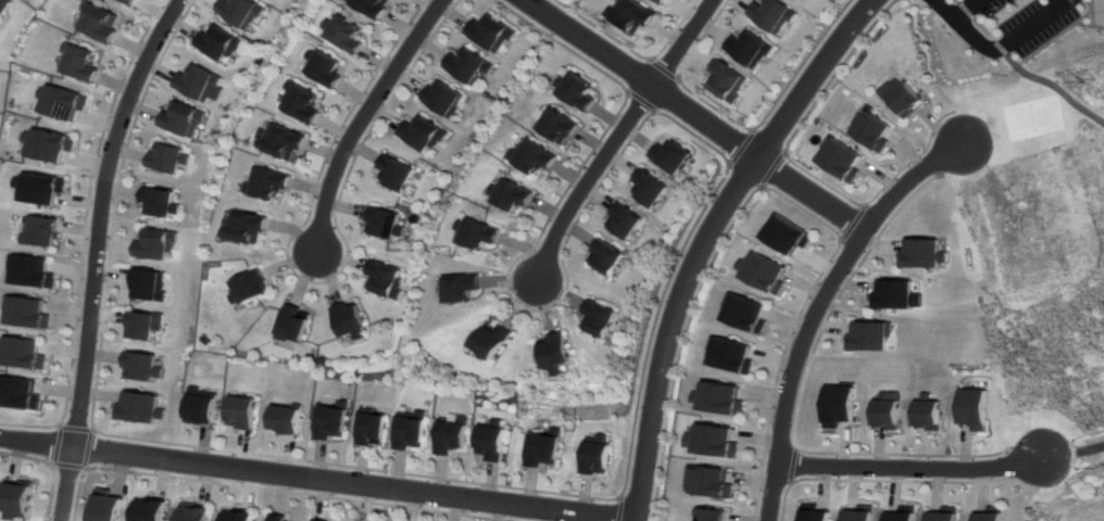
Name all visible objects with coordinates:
building: (127, 2)
building: (657, 2)
building: (3, 7)
building: (380, 8)
road: (965, 8)
road: (945, 9)
building: (244, 12)
building: (770, 15)
building: (630, 16)
building: (98, 22)
building: (493, 35)
building: (353, 36)
building: (222, 43)
road: (1009, 43)
building: (748, 49)
road: (631, 52)
building: (79, 61)
road: (801, 65)
building: (473, 66)
road: (661, 68)
building: (327, 69)
road: (1023, 72)
road: (640, 78)
road: (677, 78)
building: (726, 80)
power tower: (1091, 82)
building: (199, 84)
building: (579, 93)
building: (904, 98)
building: (448, 99)
road: (640, 100)
building: (62, 102)
building: (305, 105)
road: (364, 116)
park: (1033, 117)
building: (184, 118)
building: (562, 126)
building: (871, 130)
building: (425, 135)
road: (616, 137)
building: (286, 141)
building: (49, 144)
road: (740, 148)
building: (532, 156)
building: (168, 157)
building: (676, 157)
building: (839, 158)
road: (798, 166)
road: (771, 168)
building: (399, 175)
road: (909, 178)
building: (269, 182)
building: (42, 188)
building: (653, 190)
road: (777, 192)
road: (810, 194)
building: (509, 196)
building: (161, 203)
building: (627, 221)
road: (850, 221)
building: (386, 225)
building: (246, 228)
building: (42, 230)
building: (786, 233)
road: (85, 234)
building: (476, 234)
road: (705, 238)
building: (156, 245)
road: (96, 253)
building: (920, 253)
building: (609, 258)
building: (33, 271)
building: (764, 272)
building: (389, 281)
road: (316, 282)
building: (150, 284)
building: (249, 287)
building: (463, 289)
building: (893, 294)
building: (27, 312)
building: (745, 313)
building: (602, 320)
building: (353, 321)
building: (142, 325)
building: (294, 325)
building: (866, 335)
road: (800, 341)
building: (493, 342)
building: (22, 353)
building: (557, 353)
building: (732, 355)
building: (138, 366)
building: (18, 393)
road: (798, 396)
building: (720, 397)
building: (835, 405)
building: (200, 407)
building: (137, 408)
building: (971, 408)
building: (882, 409)
building: (924, 411)
building: (240, 412)
building: (285, 418)
building: (329, 425)
road: (633, 425)
road: (73, 429)
building: (369, 431)
building: (412, 435)
building: (454, 439)
building: (713, 441)
road: (57, 444)
building: (495, 444)
road: (87, 449)
building: (542, 452)
road: (1077, 453)
building: (598, 457)
road: (1009, 462)
road: (52, 465)
road: (791, 465)
road: (68, 466)
road: (913, 468)
road: (313, 480)
road: (880, 480)
building: (710, 481)
road: (774, 482)
road: (269, 490)
road: (770, 492)
building: (17, 499)
building: (110, 505)
road: (620, 508)
building: (151, 510)
building: (195, 512)
building: (712, 513)
building: (813, 513)
building: (941, 513)
building: (989, 513)
building: (856, 514)
building: (238, 516)
building: (900, 516)
building: (279, 517)
building: (318, 520)

